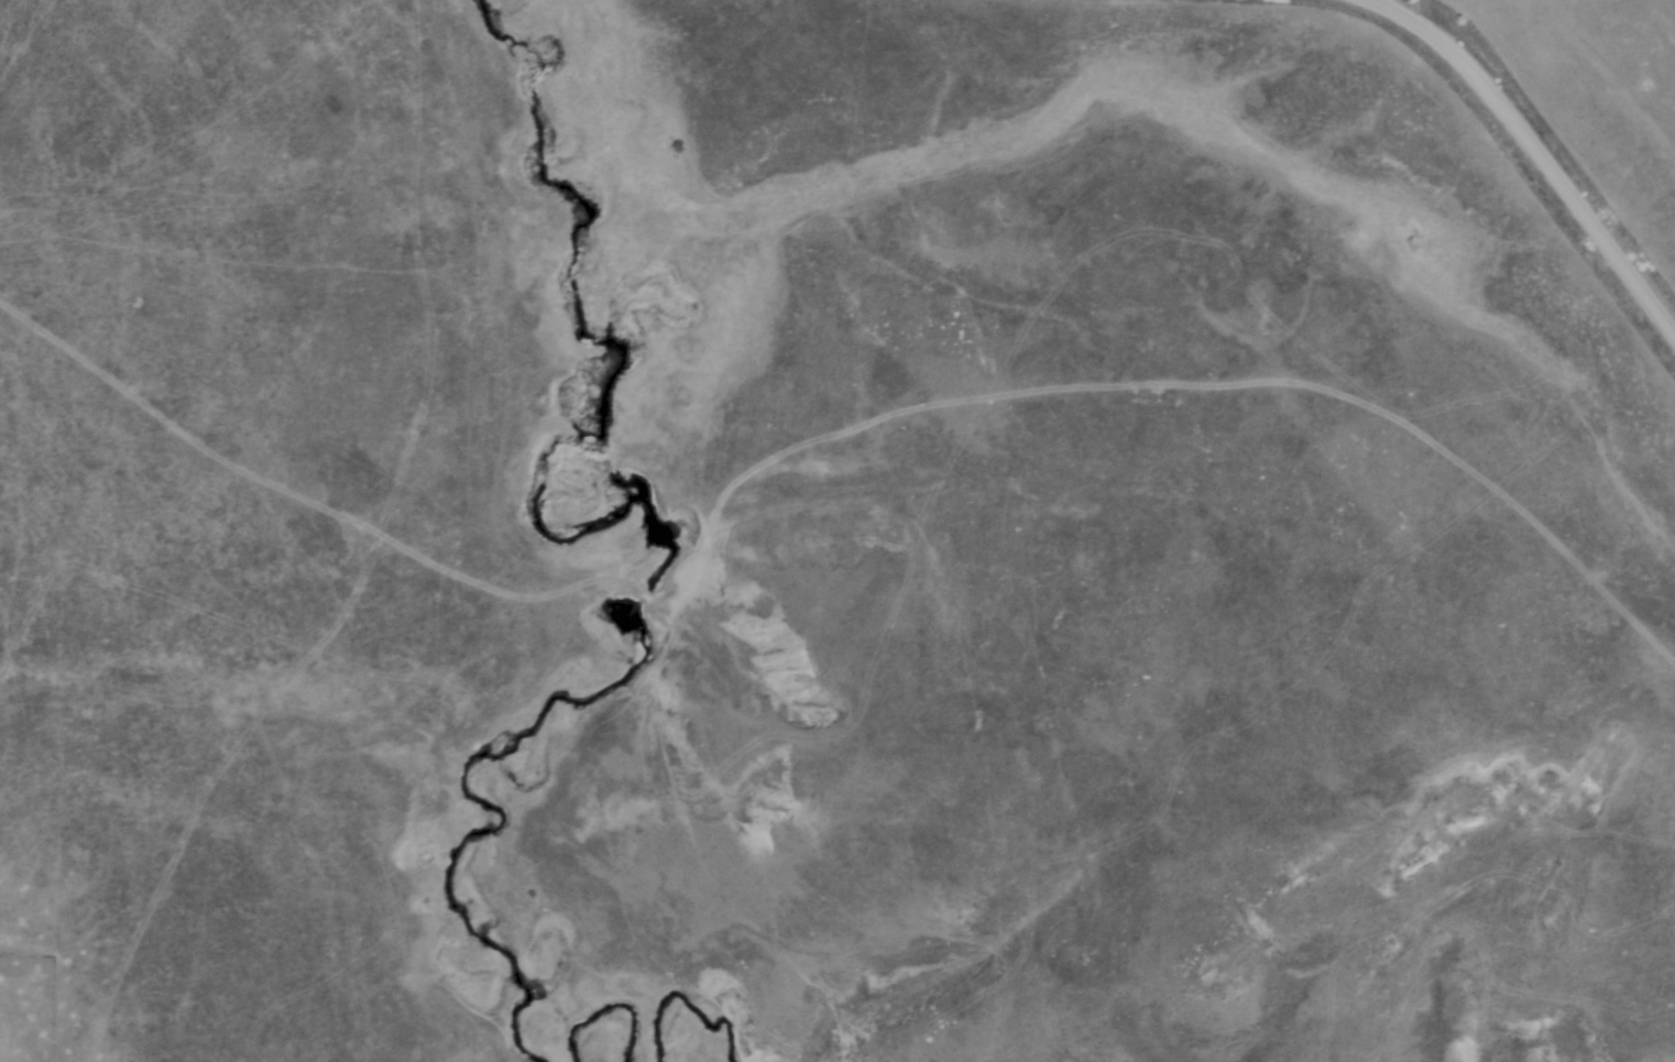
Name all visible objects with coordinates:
road: (1541, 149)

